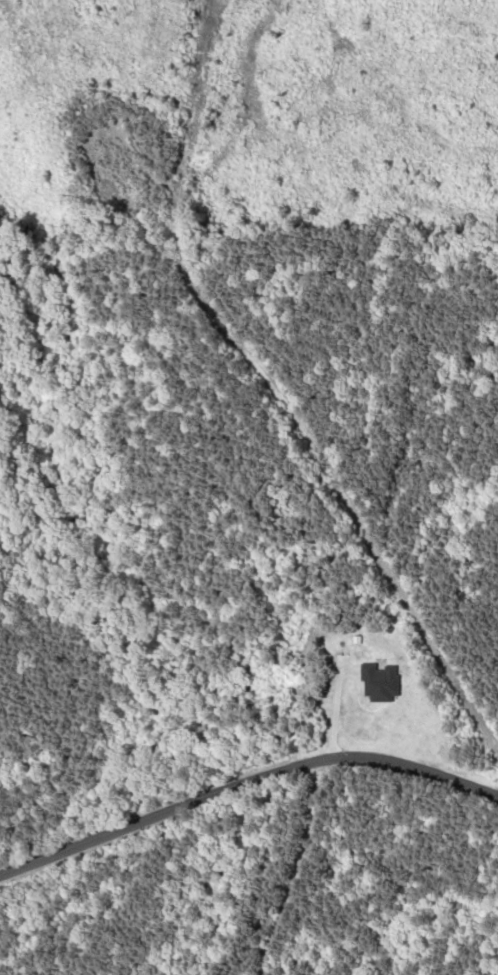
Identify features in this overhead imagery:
road: (277, 387)
building: (358, 628)
road: (242, 785)

